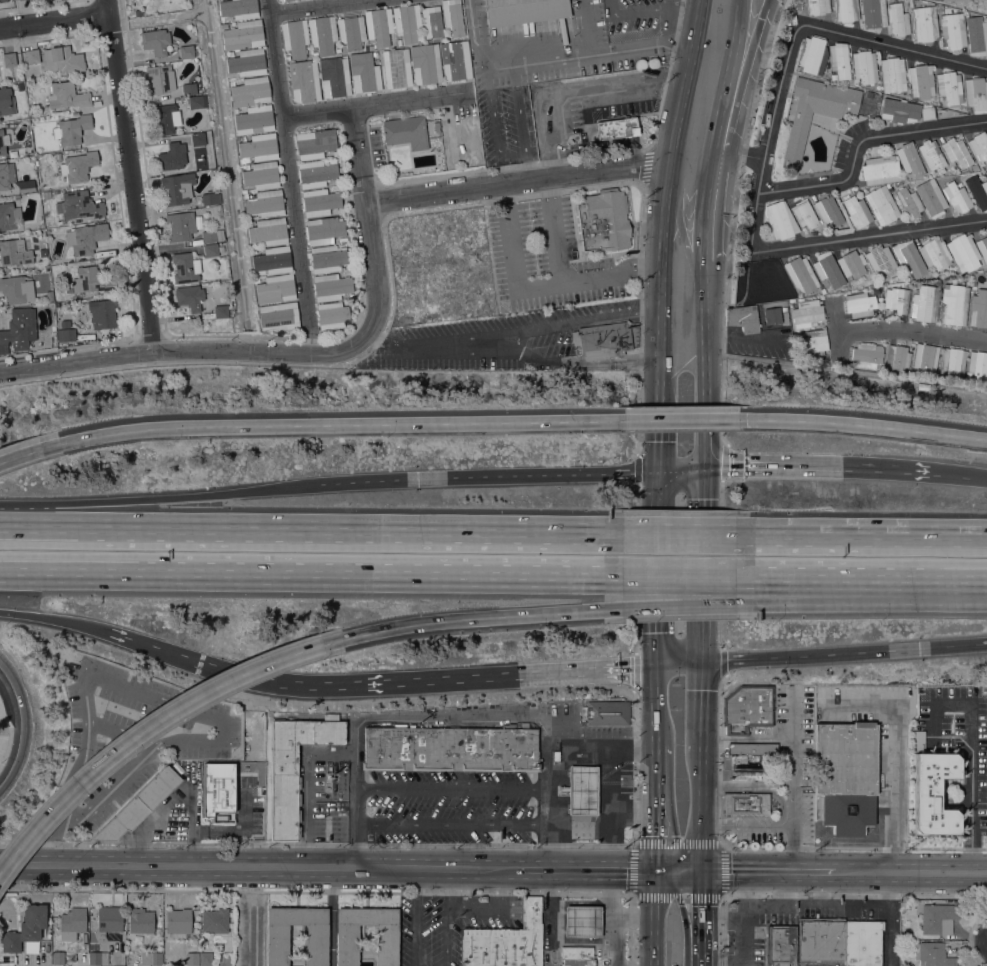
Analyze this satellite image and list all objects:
building: (3, 0)
building: (280, 0)
building: (285, 0)
park: (965, 5)
building: (817, 6)
road: (324, 7)
building: (238, 8)
road: (613, 9)
building: (845, 10)
building: (524, 11)
building: (138, 12)
building: (873, 13)
road: (643, 15)
building: (452, 17)
building: (898, 19)
road: (55, 21)
road: (669, 21)
building: (407, 22)
building: (431, 22)
building: (924, 23)
building: (378, 26)
building: (953, 30)
building: (350, 31)
building: (322, 34)
road: (473, 34)
building: (243, 35)
building: (976, 35)
building: (295, 37)
building: (155, 41)
road: (694, 41)
road: (893, 44)
building: (186, 51)
road: (590, 54)
building: (812, 55)
building: (32, 56)
building: (9, 59)
building: (63, 60)
building: (455, 60)
building: (839, 60)
building: (247, 62)
building: (425, 63)
building: (864, 66)
building: (396, 68)
building: (364, 72)
building: (892, 74)
building: (334, 76)
road: (725, 76)
road: (741, 77)
building: (160, 79)
building: (304, 81)
building: (920, 81)
road: (576, 84)
road: (704, 87)
building: (949, 87)
building: (189, 88)
building: (250, 91)
building: (975, 93)
building: (67, 95)
road: (416, 100)
building: (6, 101)
building: (197, 101)
road: (519, 109)
building: (904, 111)
building: (815, 112)
road: (321, 114)
building: (165, 118)
building: (254, 120)
road: (494, 124)
building: (617, 128)
building: (72, 129)
building: (406, 131)
road: (767, 134)
building: (197, 139)
building: (3, 141)
road: (859, 141)
building: (314, 143)
building: (979, 146)
building: (258, 147)
building: (955, 152)
road: (736, 154)
road: (363, 155)
building: (932, 155)
building: (57, 156)
building: (172, 156)
building: (909, 159)
building: (78, 166)
road: (290, 166)
road: (528, 167)
building: (880, 170)
building: (315, 173)
building: (6, 174)
building: (261, 175)
road: (132, 176)
road: (537, 180)
building: (27, 186)
building: (177, 188)
building: (979, 193)
building: (46, 195)
building: (931, 197)
building: (957, 197)
building: (210, 198)
building: (319, 202)
building: (909, 202)
building: (265, 203)
building: (78, 205)
building: (881, 205)
road: (703, 206)
building: (828, 210)
building: (856, 210)
building: (804, 214)
building: (8, 215)
building: (603, 220)
road: (732, 220)
building: (780, 220)
building: (181, 225)
road: (680, 225)
building: (324, 230)
road: (553, 230)
building: (268, 231)
building: (208, 235)
road: (869, 236)
building: (86, 238)
building: (982, 246)
road: (661, 248)
building: (212, 249)
building: (14, 252)
building: (963, 252)
building: (933, 253)
building: (327, 258)
building: (909, 259)
building: (273, 260)
building: (881, 261)
building: (851, 263)
building: (183, 268)
building: (828, 269)
road: (376, 270)
building: (800, 274)
building: (90, 281)
building: (331, 286)
road: (538, 286)
building: (68, 288)
building: (276, 288)
building: (16, 289)
building: (48, 295)
building: (189, 297)
building: (896, 300)
building: (925, 303)
building: (859, 304)
building: (954, 304)
building: (50, 305)
building: (978, 309)
building: (221, 310)
building: (807, 313)
building: (103, 314)
building: (332, 314)
building: (772, 315)
building: (279, 316)
building: (743, 318)
road: (576, 321)
building: (18, 329)
road: (906, 330)
building: (65, 332)
building: (603, 339)
road: (742, 339)
building: (813, 343)
road: (431, 345)
road: (187, 351)
building: (866, 355)
building: (897, 358)
building: (925, 359)
building: (953, 363)
road: (704, 364)
road: (574, 365)
building: (978, 366)
road: (854, 372)
road: (680, 419)
road: (340, 424)
road: (862, 424)
traffic signals: (659, 440)
road: (659, 443)
road: (29, 451)
road: (723, 461)
road: (816, 466)
traffic signals: (704, 468)
road: (681, 469)
road: (958, 475)
road: (482, 476)
road: (704, 488)
road: (659, 489)
road: (721, 493)
road: (153, 497)
road: (66, 525)
road: (478, 528)
road: (905, 532)
road: (354, 574)
road: (848, 578)
road: (644, 593)
road: (48, 617)
road: (460, 620)
road: (720, 633)
road: (703, 641)
road: (153, 646)
road: (845, 652)
road: (723, 660)
traffic signals: (703, 662)
road: (679, 663)
traffic signals: (655, 664)
road: (505, 674)
road: (281, 681)
road: (702, 706)
building: (747, 709)
building: (605, 713)
road: (452, 716)
road: (150, 724)
road: (23, 725)
parking lot: (129, 736)
road: (747, 739)
building: (917, 740)
road: (655, 746)
building: (450, 748)
building: (752, 748)
road: (971, 751)
building: (556, 755)
building: (755, 758)
road: (895, 759)
building: (294, 766)
building: (742, 769)
road: (354, 770)
building: (845, 776)
road: (794, 780)
road: (747, 782)
building: (218, 787)
road: (308, 788)
road: (453, 788)
building: (581, 790)
road: (759, 790)
road: (667, 791)
building: (933, 793)
building: (745, 804)
building: (139, 805)
road: (550, 806)
road: (634, 806)
road: (700, 811)
road: (747, 824)
road: (453, 825)
road: (355, 828)
road: (722, 844)
road: (633, 845)
road: (768, 847)
road: (259, 867)
road: (587, 870)
traffic signals: (656, 871)
road: (678, 871)
road: (767, 871)
traffic signals: (700, 872)
road: (911, 872)
road: (447, 887)
road: (501, 887)
road: (610, 894)
road: (550, 895)
road: (856, 896)
road: (724, 897)
road: (846, 902)
road: (783, 904)
road: (474, 906)
road: (683, 914)
road: (746, 915)
road: (331, 917)
road: (416, 917)
road: (655, 918)
road: (700, 918)
building: (938, 918)
building: (108, 919)
road: (555, 919)
road: (722, 919)
road: (892, 919)
building: (214, 920)
building: (140, 921)
building: (178, 921)
building: (582, 921)
building: (72, 923)
building: (26, 930)
road: (722, 931)
road: (446, 936)
road: (255, 937)
road: (611, 937)
road: (969, 937)
building: (820, 938)
road: (580, 940)
building: (506, 941)
building: (862, 942)
building: (780, 944)
building: (277, 945)
building: (346, 945)
building: (932, 954)
building: (576, 956)
building: (57, 957)
building: (98, 958)
building: (151, 958)
building: (192, 958)
building: (205, 959)
road: (722, 960)

